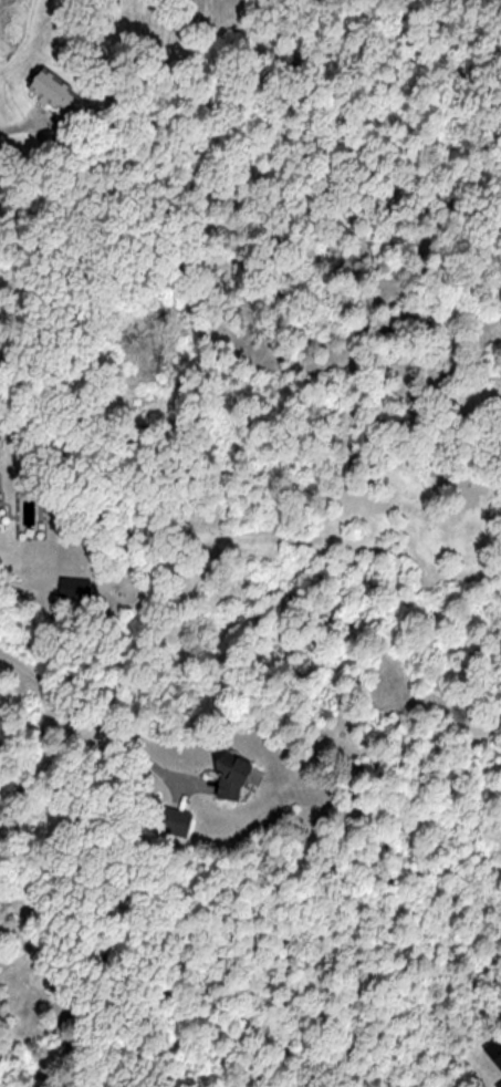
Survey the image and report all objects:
building: (56, 94)
road: (11, 122)
building: (74, 588)
road: (100, 724)
building: (230, 780)
building: (173, 821)

